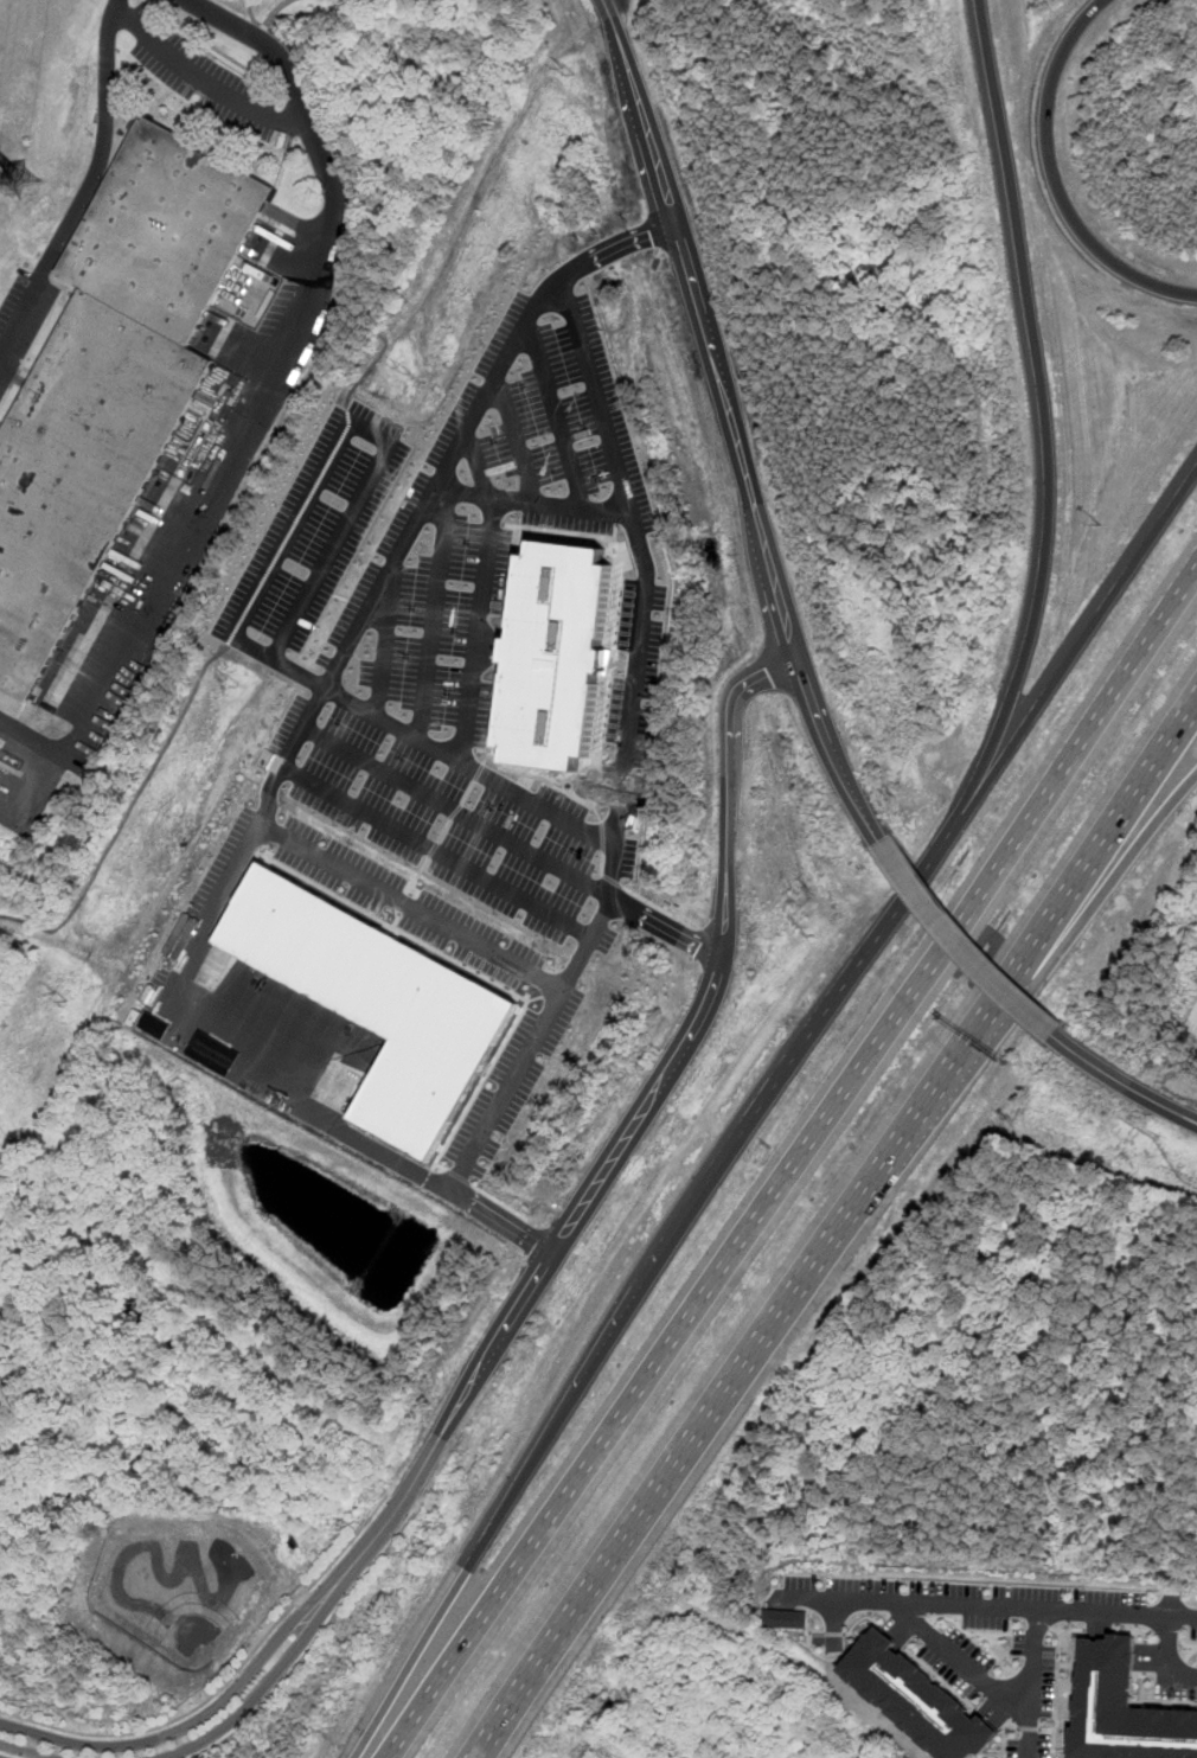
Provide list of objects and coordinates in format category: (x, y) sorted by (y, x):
power tower: (569, 70)
parking lot: (205, 78)
road: (203, 79)
road: (1052, 178)
power tower: (23, 184)
road: (87, 184)
parking lot: (21, 321)
power tower: (404, 370)
building: (111, 379)
road: (1045, 401)
road: (264, 409)
road: (553, 416)
road: (732, 424)
road: (463, 431)
road: (517, 441)
road: (475, 467)
road: (311, 493)
road: (536, 506)
road: (646, 582)
road: (478, 632)
road: (384, 640)
building: (555, 656)
power tower: (231, 685)
building: (0, 748)
road: (292, 772)
road: (39, 775)
road: (516, 792)
road: (456, 811)
road: (311, 850)
road: (1067, 887)
parking lot: (405, 903)
parking lot: (201, 920)
road: (664, 927)
road: (1073, 932)
road: (961, 944)
power tower: (62, 998)
building: (376, 1003)
road: (685, 1040)
road: (530, 1042)
parking lot: (513, 1080)
road: (1121, 1082)
road: (762, 1105)
road: (353, 1133)
road: (790, 1170)
road: (703, 1417)
road: (409, 1492)
road: (988, 1607)
building: (794, 1612)
road: (312, 1645)
road: (1163, 1661)
road: (226, 1680)
road: (265, 1682)
road: (1003, 1695)
building: (918, 1698)
building: (1127, 1711)
road: (197, 1719)
road: (23, 1750)
road: (5, 1756)

